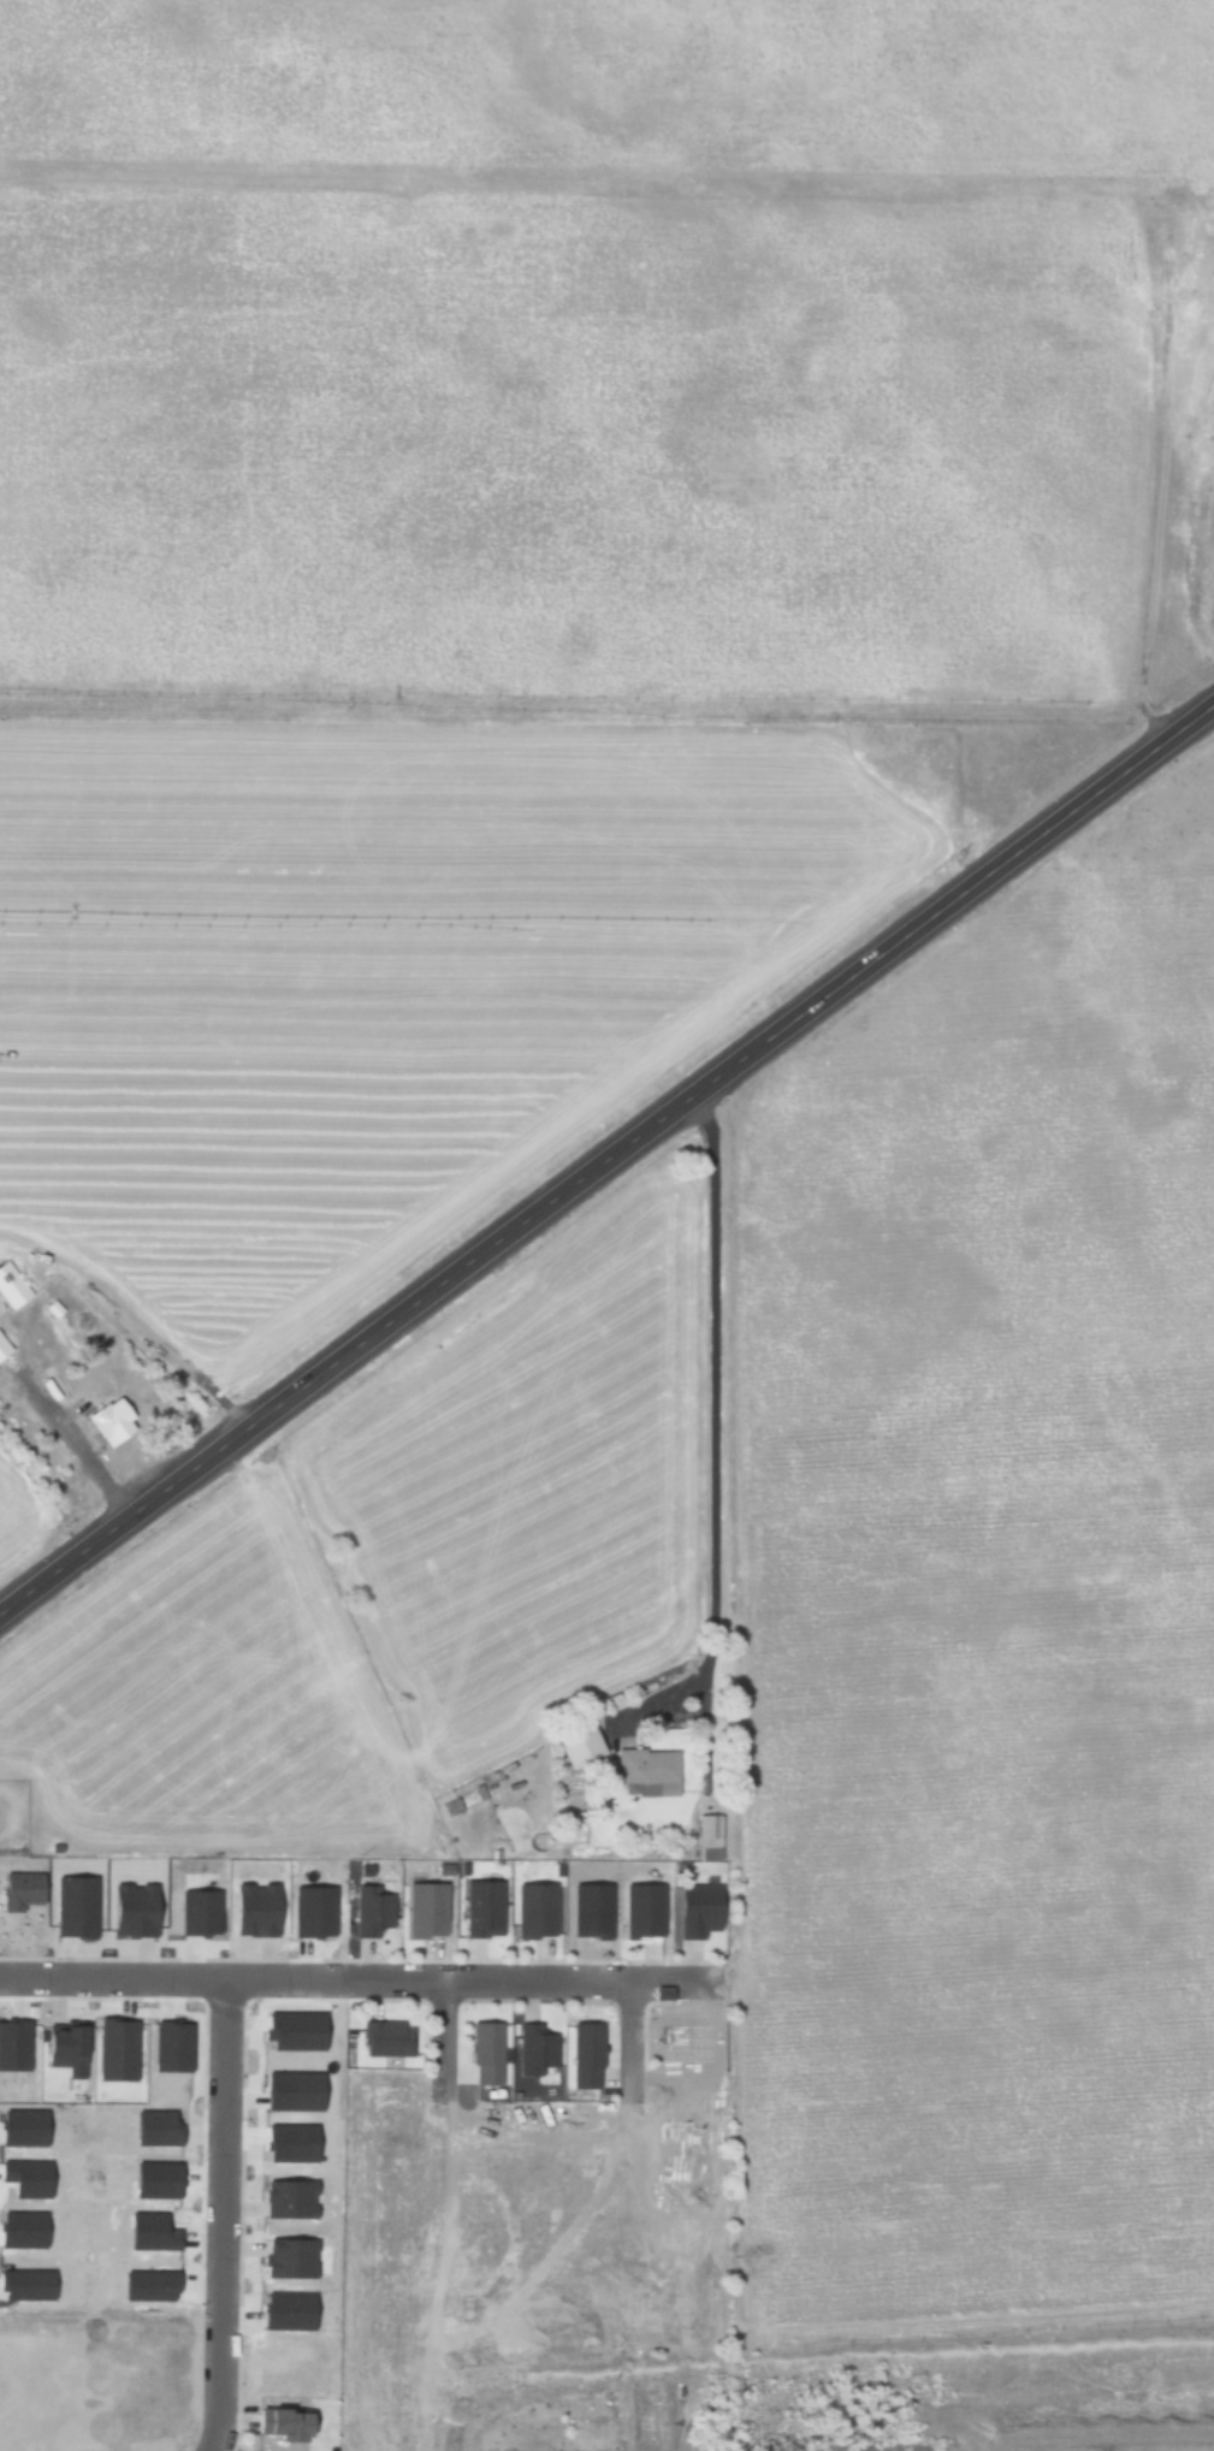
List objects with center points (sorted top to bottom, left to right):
crop: (531, 562)
road: (608, 1159)
building: (10, 1285)
building: (2, 1348)
building: (107, 1420)
road: (716, 1427)
crop: (28, 1503)
building: (573, 1742)
building: (641, 1768)
building: (705, 1836)
building: (16, 1889)
building: (72, 1906)
building: (479, 1907)
building: (421, 1908)
building: (531, 1908)
building: (128, 1910)
building: (249, 1910)
building: (367, 1910)
building: (587, 1910)
building: (639, 1910)
building: (692, 1910)
building: (194, 1911)
building: (309, 1911)
road: (357, 1979)
building: (312, 2031)
building: (385, 2037)
road: (444, 2037)
road: (628, 2038)
building: (12, 2043)
building: (168, 2047)
building: (59, 2048)
building: (113, 2049)
building: (312, 2091)
building: (19, 2127)
building: (150, 2127)
building: (1103, 2154)
building: (285, 2155)
building: (23, 2178)
building: (150, 2179)
building: (284, 2198)
road: (221, 2214)
building: (18, 2228)
building: (144, 2231)
building: (285, 2257)
building: (23, 2284)
building: (143, 2285)
building: (282, 2423)

